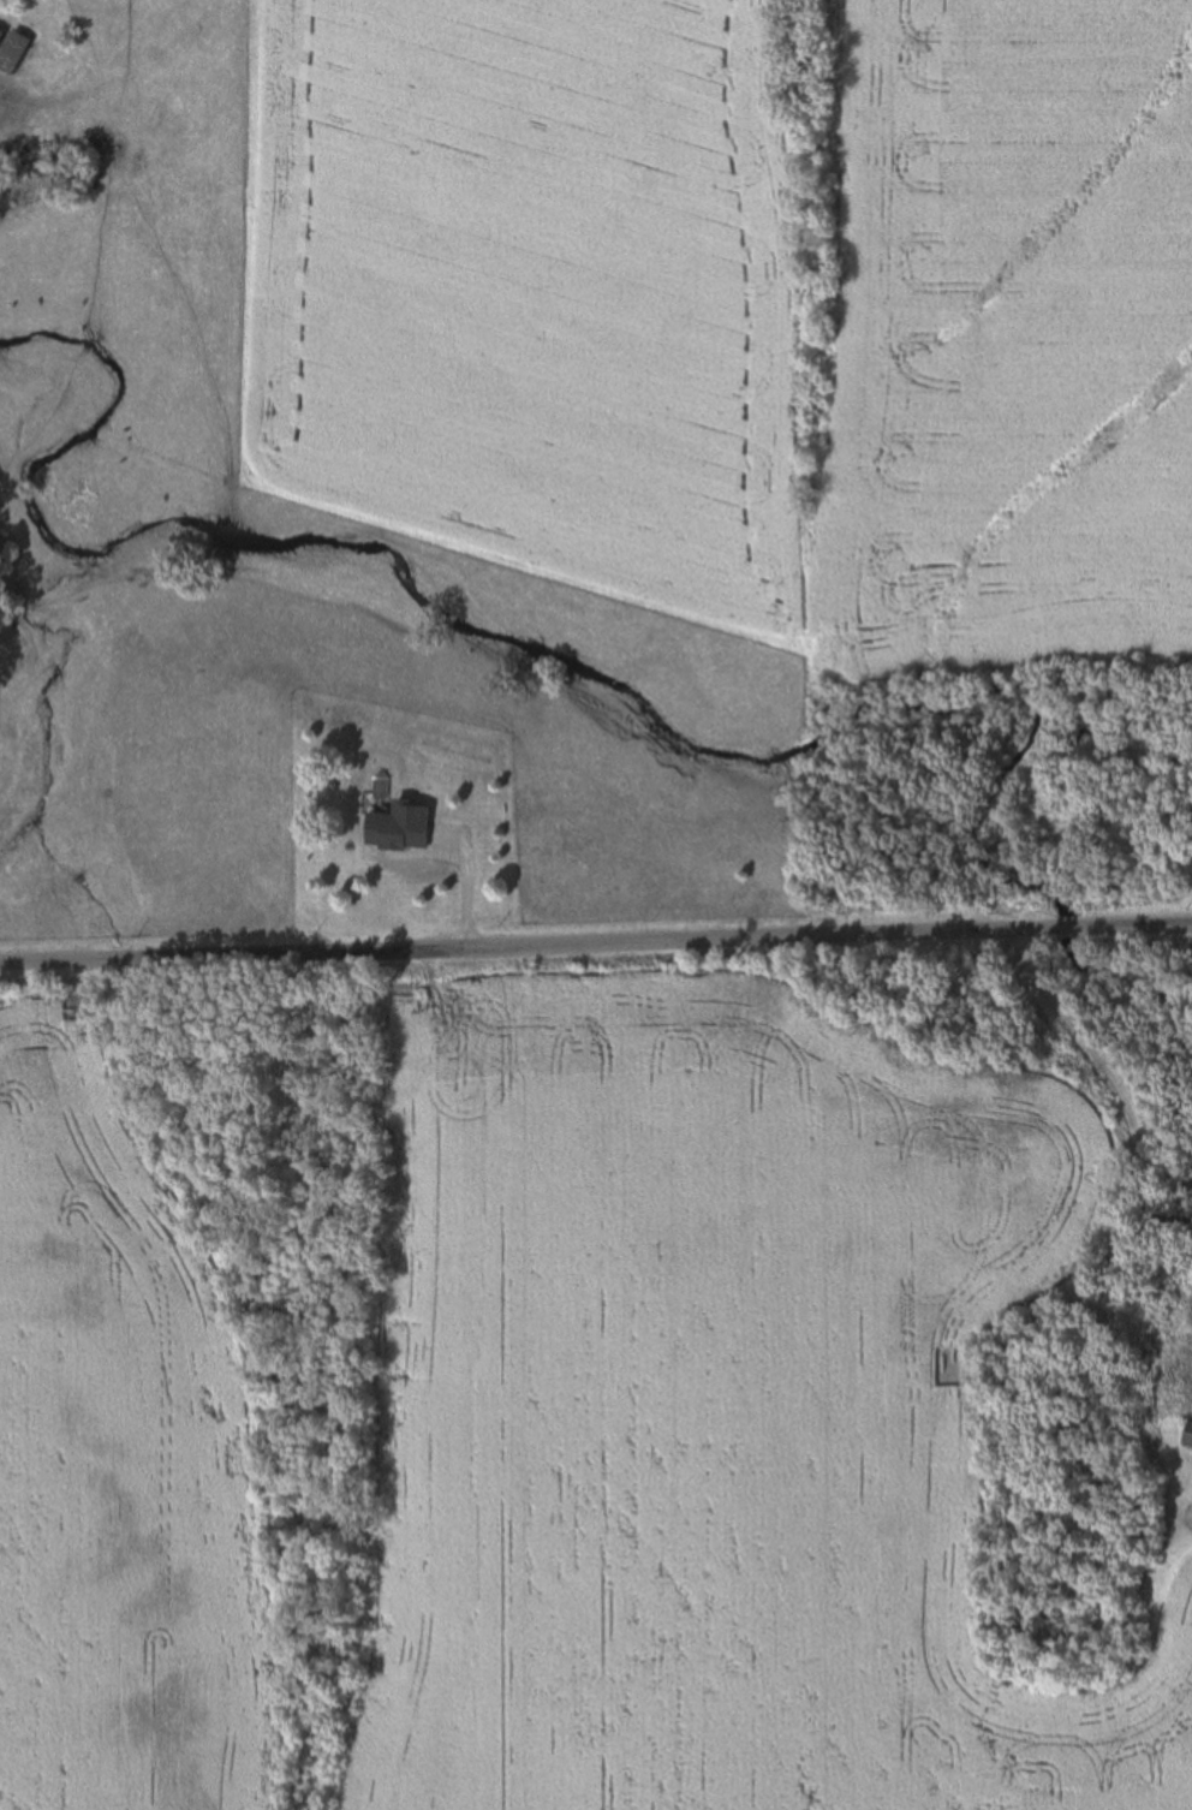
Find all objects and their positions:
building: (0, 32)
building: (0, 34)
building: (11, 52)
building: (401, 830)
road: (1134, 925)
road: (1068, 928)
road: (529, 945)
road: (1093, 1061)
building: (1188, 1440)

